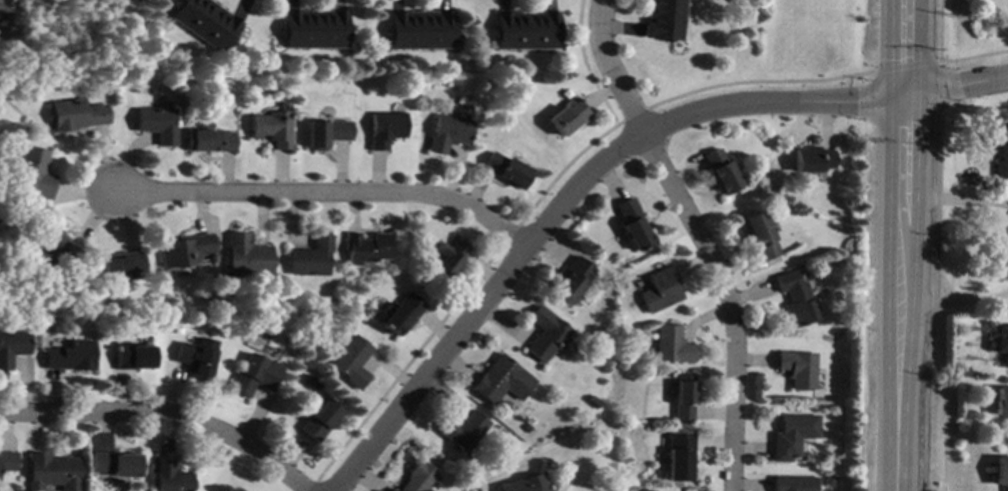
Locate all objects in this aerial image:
road: (901, 6)
road: (902, 6)
building: (663, 19)
building: (204, 22)
building: (312, 29)
building: (418, 29)
building: (525, 30)
road: (953, 90)
building: (74, 114)
building: (567, 116)
building: (155, 124)
building: (270, 128)
building: (384, 128)
building: (324, 132)
building: (448, 132)
building: (207, 141)
building: (1001, 154)
building: (811, 159)
building: (506, 170)
building: (720, 172)
building: (30, 174)
road: (322, 197)
road: (560, 202)
building: (0, 209)
building: (631, 225)
building: (758, 235)
road: (692, 237)
building: (56, 246)
building: (365, 247)
building: (183, 249)
road: (896, 251)
building: (448, 256)
building: (245, 257)
building: (310, 257)
building: (1001, 263)
building: (119, 266)
building: (571, 280)
building: (658, 290)
building: (793, 299)
building: (402, 313)
building: (307, 314)
building: (176, 329)
building: (545, 334)
building: (299, 336)
building: (1000, 341)
building: (670, 345)
building: (12, 346)
building: (70, 356)
building: (131, 356)
building: (196, 357)
building: (351, 360)
building: (796, 368)
building: (961, 372)
building: (254, 375)
building: (307, 380)
building: (501, 380)
building: (682, 397)
building: (592, 401)
building: (1001, 404)
road: (158, 415)
building: (318, 418)
building: (527, 429)
building: (462, 431)
building: (792, 435)
building: (511, 445)
building: (678, 457)
building: (7, 461)
building: (114, 464)
building: (51, 472)
building: (1000, 472)
building: (169, 476)
building: (416, 478)
building: (828, 479)
building: (793, 483)
building: (524, 484)
building: (391, 490)

